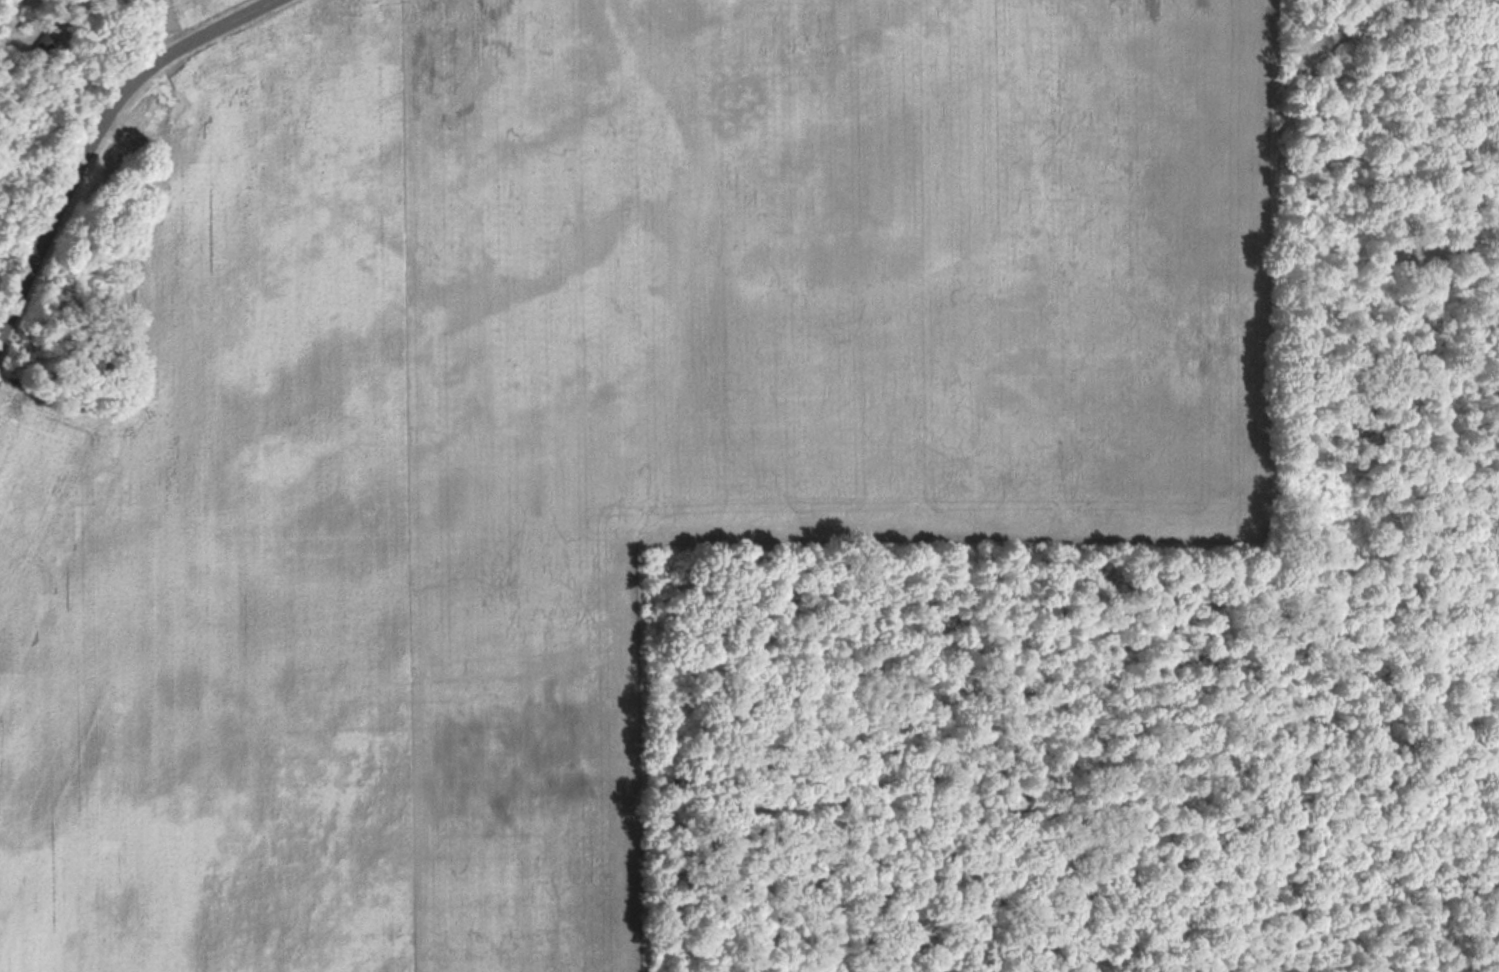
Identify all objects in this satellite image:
road: (100, 134)

